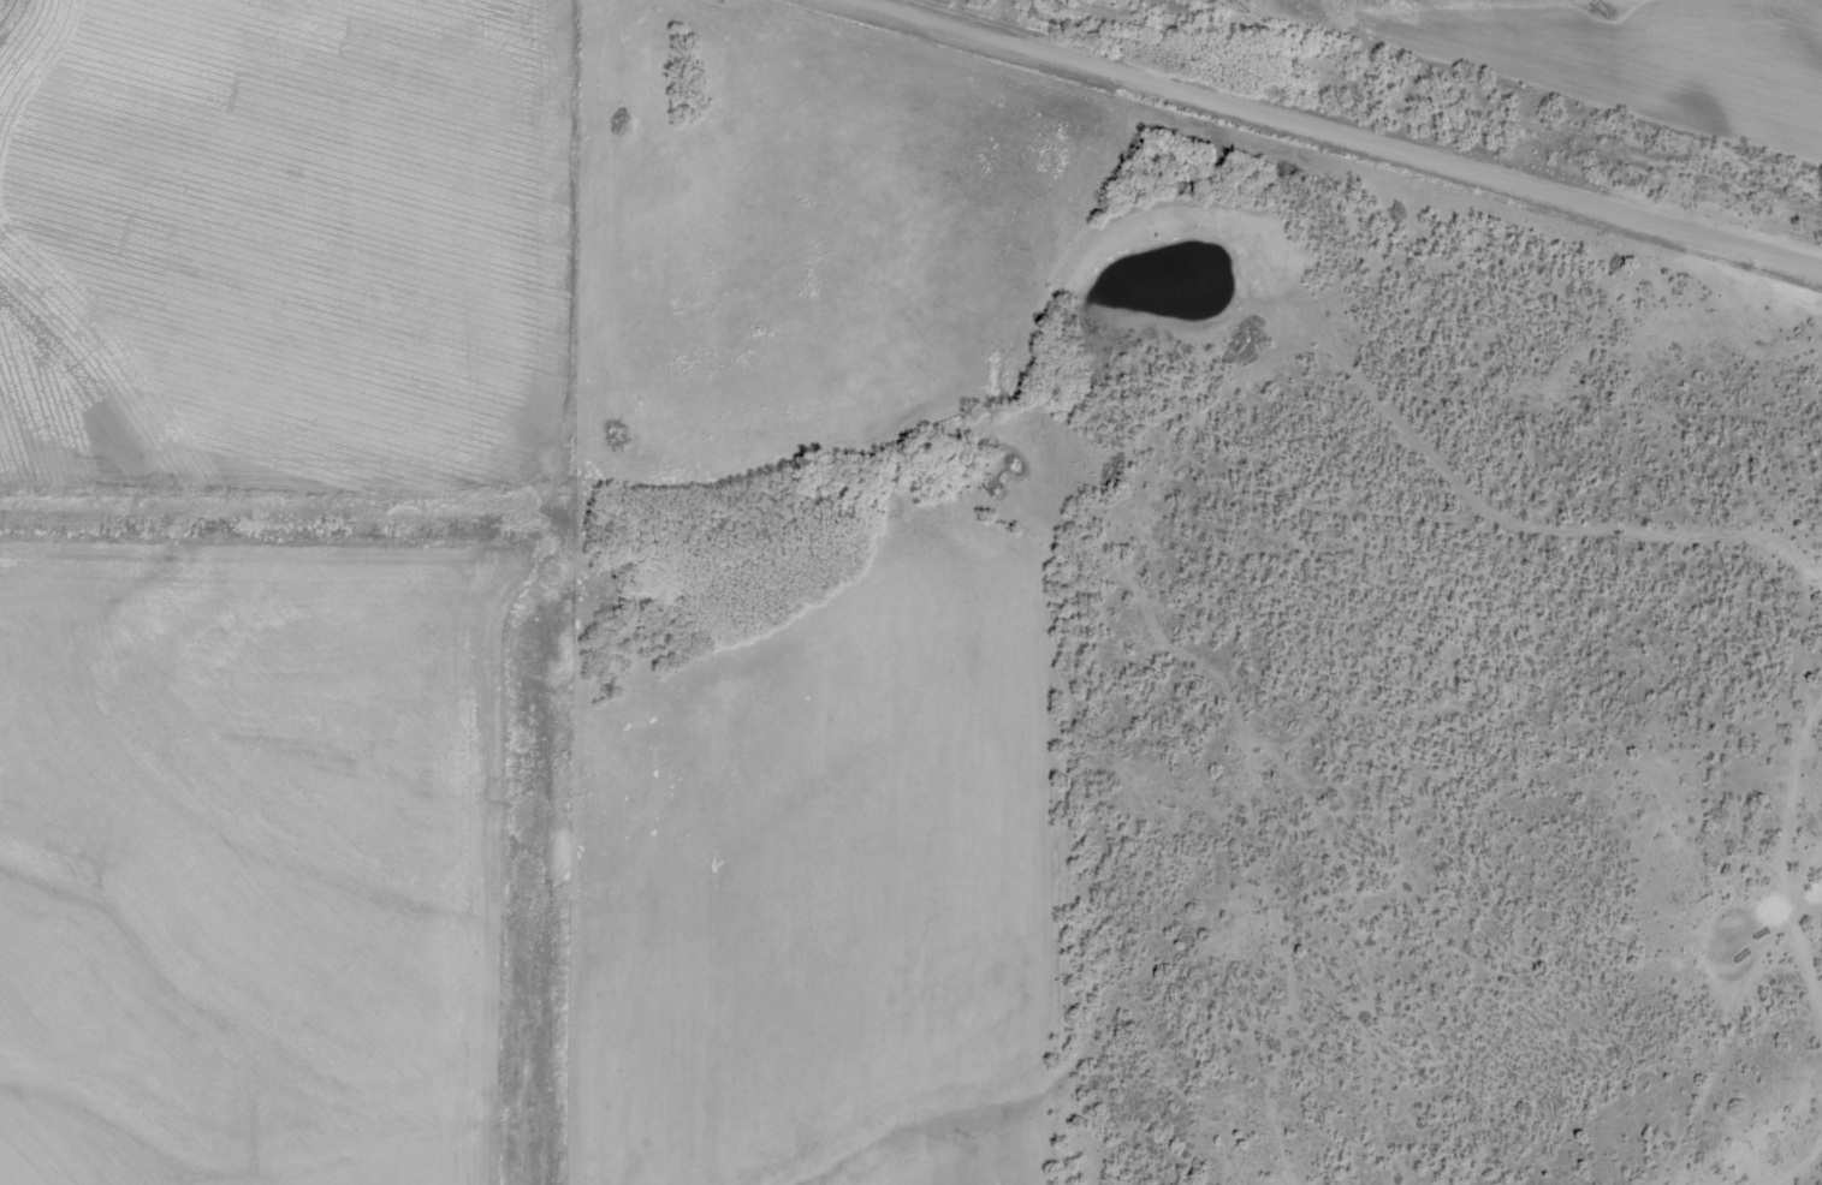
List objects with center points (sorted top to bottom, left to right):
power tower: (1247, 5)
power tower: (1608, 11)
road: (1348, 131)
road: (1187, 568)

